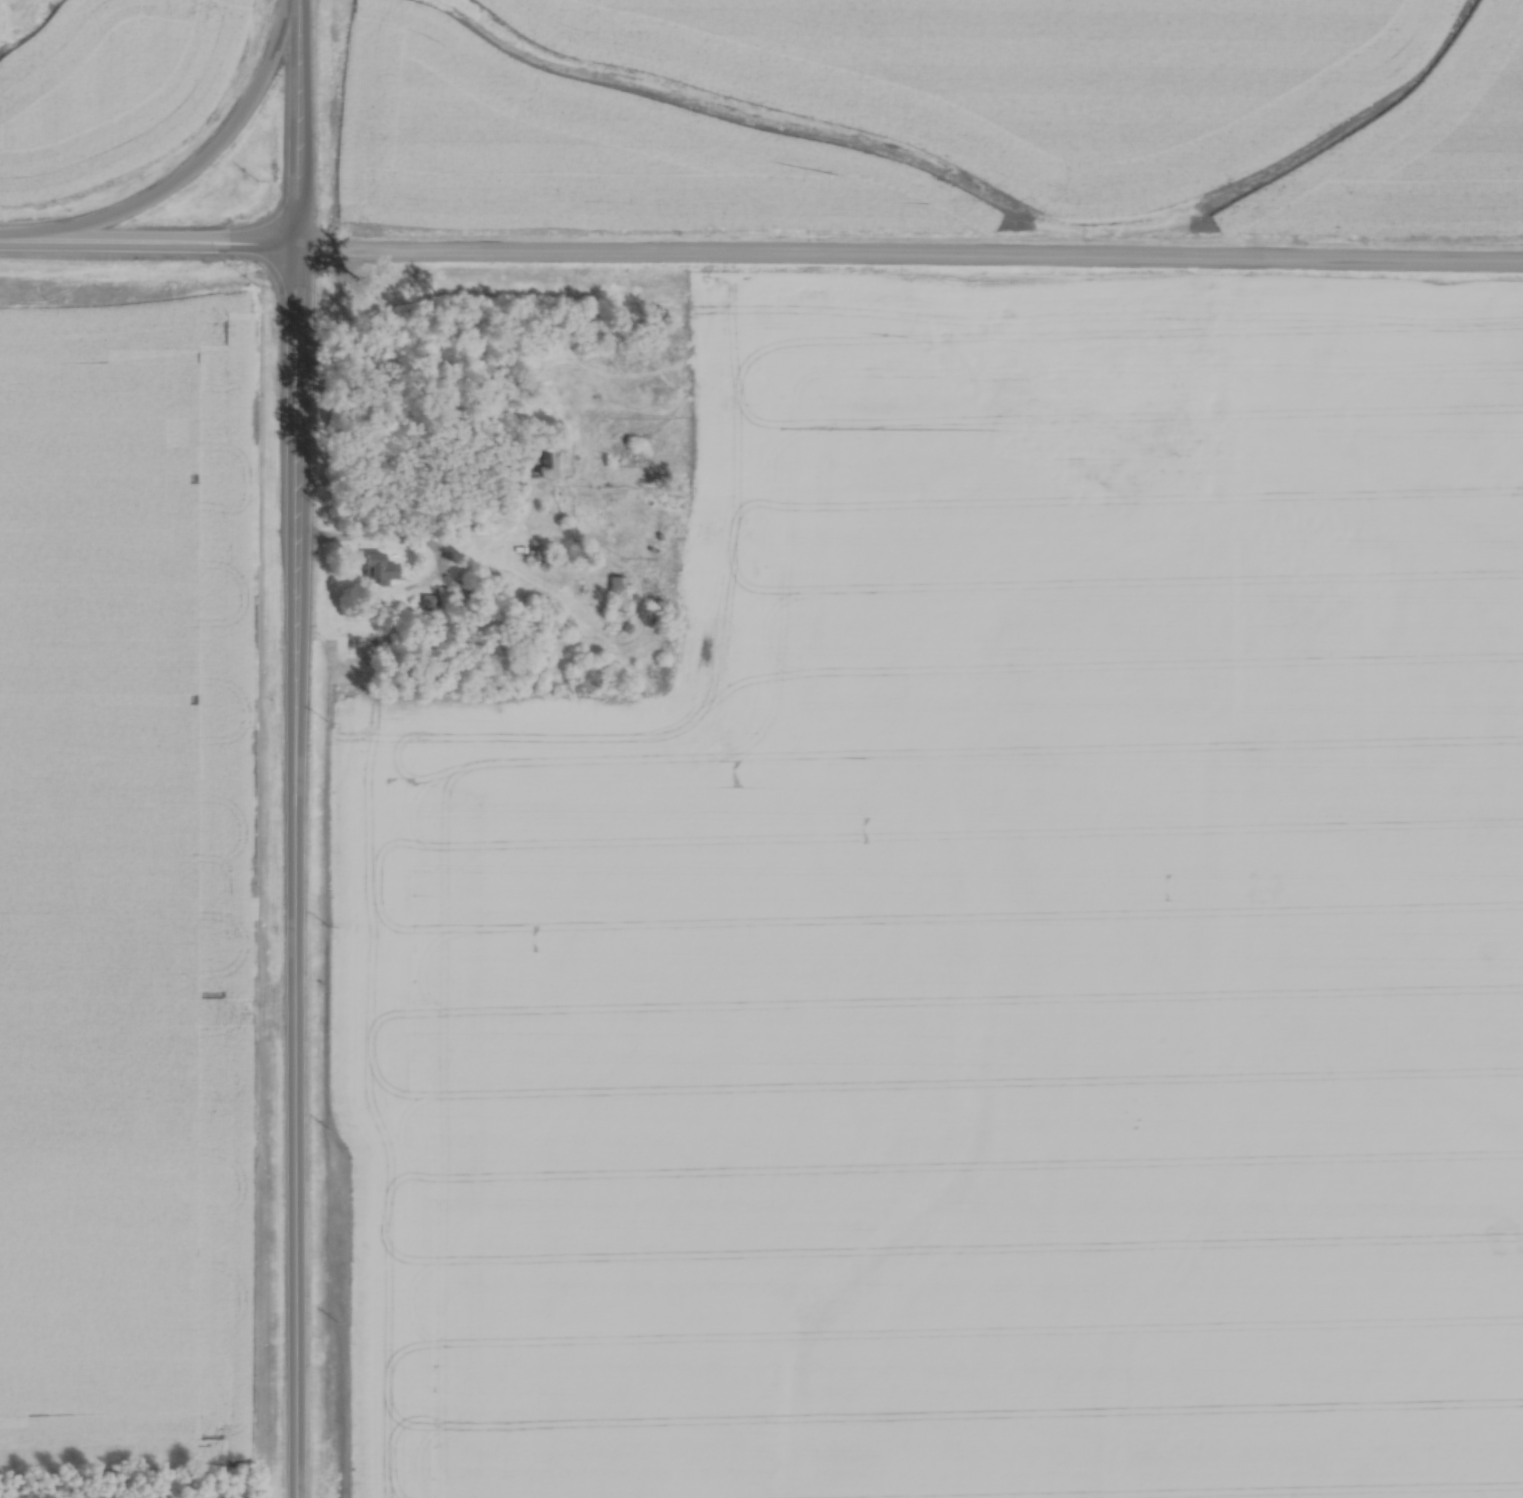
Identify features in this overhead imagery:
road: (297, 120)
road: (185, 167)
building: (183, 168)
street lamp: (275, 174)
street lamp: (71, 205)
road: (149, 237)
road: (910, 251)
street lamp: (226, 259)
power tower: (363, 280)
street lamp: (320, 294)
road: (297, 416)
building: (541, 460)
road: (378, 540)
building: (535, 553)
building: (377, 565)
building: (616, 591)
building: (533, 619)
road: (293, 1044)

